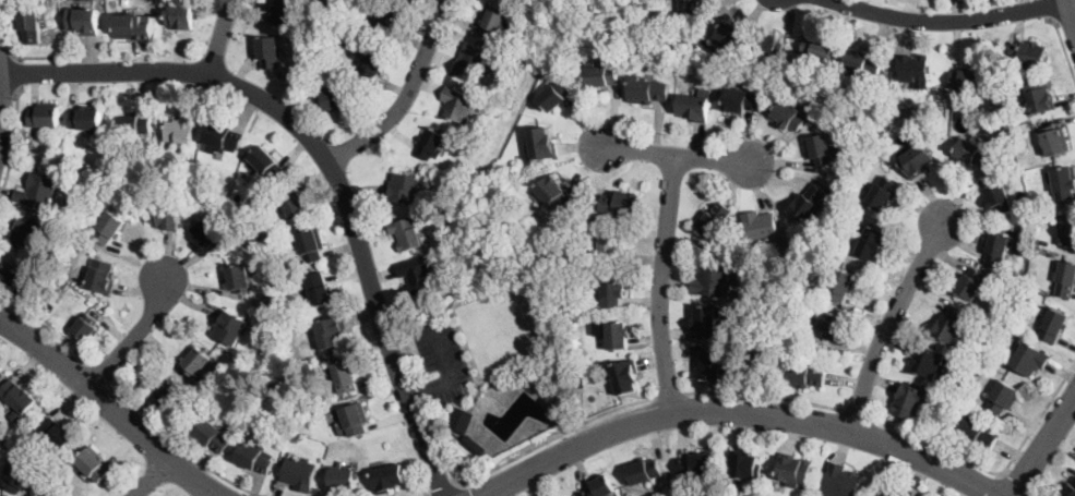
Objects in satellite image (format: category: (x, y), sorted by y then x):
building: (688, 7)
road: (946, 8)
road: (1051, 8)
building: (284, 11)
road: (1071, 11)
building: (180, 15)
building: (386, 20)
road: (943, 20)
building: (83, 21)
building: (494, 22)
building: (31, 24)
building: (133, 26)
road: (8, 29)
building: (729, 35)
road: (220, 37)
building: (343, 40)
road: (1062, 44)
building: (768, 47)
building: (817, 49)
building: (268, 52)
building: (1029, 52)
road: (38, 56)
building: (733, 60)
building: (473, 61)
building: (862, 63)
building: (371, 64)
building: (915, 69)
road: (19, 73)
building: (600, 76)
building: (966, 81)
building: (647, 90)
road: (407, 95)
building: (1039, 95)
building: (554, 96)
building: (335, 99)
building: (741, 100)
building: (462, 105)
building: (694, 106)
building: (44, 116)
building: (788, 116)
building: (86, 120)
building: (133, 124)
building: (181, 126)
building: (223, 137)
building: (1055, 142)
building: (430, 144)
building: (542, 144)
road: (13, 145)
building: (822, 149)
building: (972, 154)
road: (329, 158)
road: (678, 158)
building: (916, 160)
building: (265, 164)
building: (1064, 183)
building: (404, 190)
building: (38, 192)
building: (553, 193)
building: (882, 193)
building: (999, 198)
building: (295, 203)
building: (809, 203)
building: (621, 204)
building: (165, 216)
building: (714, 218)
building: (760, 226)
building: (109, 228)
building: (1067, 230)
building: (28, 232)
building: (404, 234)
building: (207, 237)
building: (786, 240)
building: (873, 242)
building: (310, 245)
building: (609, 246)
building: (998, 247)
building: (1051, 253)
building: (783, 259)
building: (417, 274)
building: (100, 276)
building: (15, 278)
building: (239, 278)
building: (715, 279)
building: (1065, 280)
road: (661, 283)
building: (972, 283)
building: (792, 286)
building: (840, 286)
building: (319, 288)
building: (612, 291)
building: (790, 300)
building: (705, 320)
road: (889, 323)
park: (517, 324)
building: (828, 325)
building: (1054, 325)
building: (949, 326)
building: (86, 327)
building: (230, 327)
building: (599, 327)
road: (51, 331)
building: (331, 331)
park: (486, 335)
building: (617, 335)
road: (135, 339)
building: (1030, 359)
building: (927, 360)
building: (195, 361)
building: (712, 364)
road: (104, 371)
building: (804, 375)
building: (344, 376)
building: (545, 376)
road: (451, 377)
building: (625, 377)
building: (194, 385)
building: (169, 392)
road: (667, 394)
road: (763, 397)
building: (1002, 398)
building: (17, 399)
building: (908, 401)
road: (109, 406)
road: (738, 411)
road: (857, 413)
building: (459, 420)
building: (353, 421)
building: (58, 434)
building: (976, 434)
building: (212, 435)
building: (295, 437)
road: (550, 439)
road: (178, 443)
building: (473, 446)
road: (1042, 447)
building: (254, 456)
building: (93, 463)
building: (744, 464)
building: (695, 465)
building: (793, 470)
building: (644, 472)
road: (996, 473)
building: (299, 474)
building: (20, 475)
road: (153, 477)
building: (343, 479)
building: (386, 479)
building: (841, 482)
road: (1017, 485)
building: (598, 487)
building: (1067, 488)
road: (444, 489)
road: (1035, 491)
road: (428, 494)
building: (888, 494)

